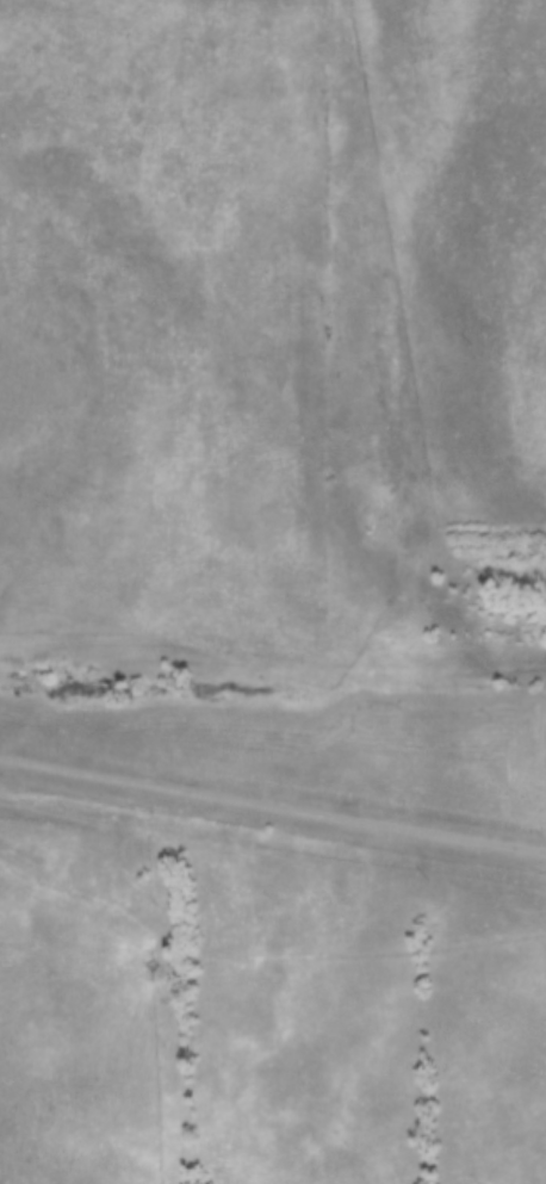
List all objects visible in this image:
road: (272, 807)

